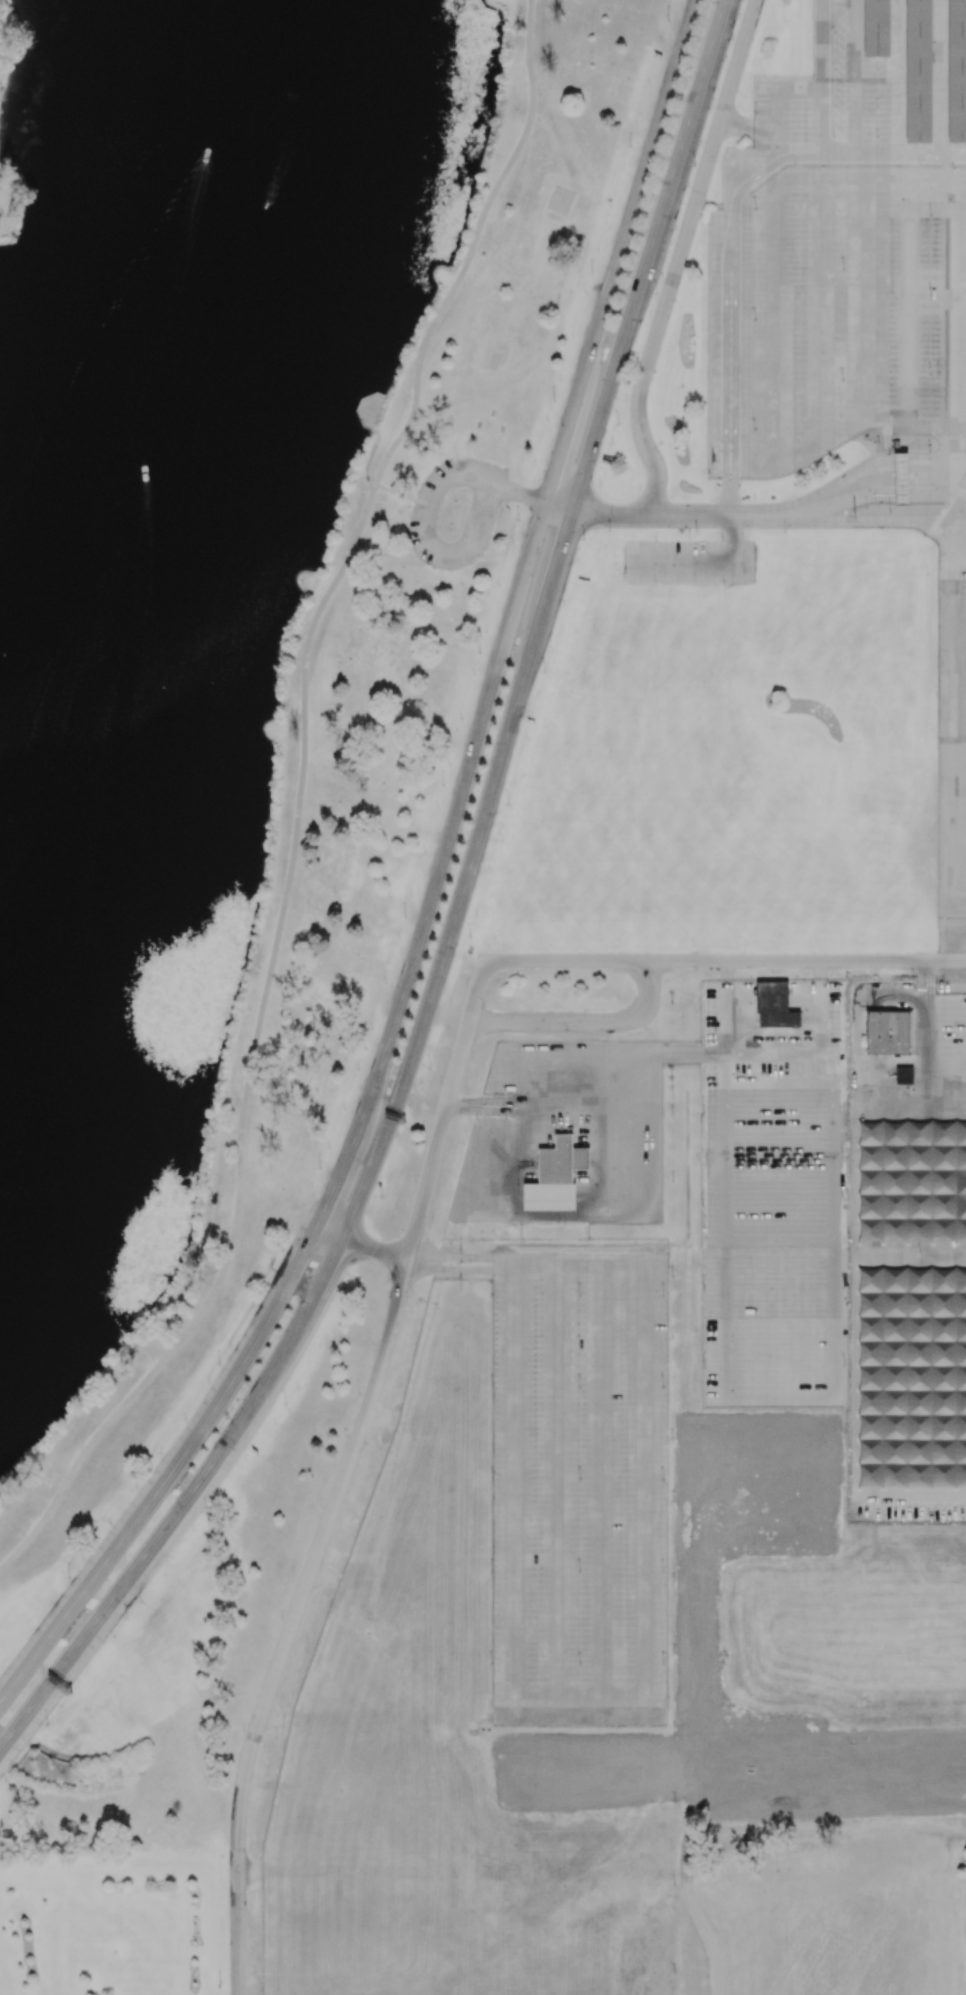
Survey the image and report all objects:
street lamp: (738, 18)
street lamp: (667, 20)
road: (721, 21)
building: (876, 28)
street lamp: (732, 39)
road: (853, 55)
building: (918, 71)
building: (956, 71)
road: (897, 76)
road: (939, 76)
road: (823, 79)
park: (26, 87)
road: (727, 93)
street lamp: (757, 114)
street lamp: (629, 146)
road: (910, 153)
road: (774, 159)
street lamp: (696, 165)
road: (937, 178)
road: (638, 191)
street lamp: (932, 213)
road: (471, 247)
road: (647, 254)
street lamp: (592, 273)
street lamp: (930, 292)
street lamp: (654, 294)
road: (908, 297)
road: (951, 305)
parking lot: (926, 334)
road: (649, 351)
street lamp: (930, 373)
street lamp: (553, 400)
pier: (368, 409)
street lamp: (616, 425)
road: (949, 433)
road: (563, 442)
street lamp: (930, 450)
road: (369, 456)
street lamp: (931, 460)
road: (883, 469)
toll booth: (903, 469)
building: (902, 480)
road: (454, 481)
street lamp: (932, 485)
toll booth: (903, 492)
road: (515, 493)
road: (405, 494)
road: (848, 499)
road: (869, 500)
street lamp: (866, 505)
street lamp: (409, 506)
street lamp: (891, 511)
parking lot: (482, 512)
street lamp: (500, 513)
road: (595, 514)
street lamp: (517, 518)
road: (849, 522)
street lamp: (609, 531)
street lamp: (695, 531)
street lamp: (785, 531)
street lamp: (583, 538)
street lamp: (656, 538)
street lamp: (722, 538)
road: (461, 549)
road: (554, 565)
street lamp: (656, 584)
street lamp: (724, 585)
park: (246, 620)
street lamp: (478, 651)
parking lot: (755, 669)
street lamp: (544, 670)
road: (762, 702)
road: (514, 707)
road: (672, 722)
road: (949, 722)
street lamp: (443, 786)
street lamp: (506, 804)
road: (471, 862)
road: (440, 865)
street lamp: (405, 917)
street lamp: (469, 937)
road: (732, 960)
building: (774, 1006)
road: (581, 1022)
building: (887, 1033)
street lamp: (365, 1046)
road: (770, 1054)
road: (252, 1058)
street lamp: (429, 1068)
building: (903, 1075)
road: (403, 1086)
road: (553, 1105)
airport: (699, 1163)
street lamp: (319, 1168)
building: (555, 1176)
street lamp: (414, 1182)
street lamp: (382, 1197)
road: (600, 1215)
road: (331, 1229)
road: (782, 1239)
road: (374, 1248)
street lamp: (280, 1250)
road: (525, 1260)
street lamp: (387, 1280)
street lamp: (349, 1288)
street lamp: (318, 1346)
street lamp: (217, 1364)
street lamp: (295, 1385)
street lamp: (284, 1405)
street lamp: (148, 1473)
road: (173, 1473)
road: (186, 1501)
street lamp: (207, 1513)
road: (314, 1563)
street lamp: (68, 1576)
street lamp: (126, 1618)
park: (165, 1661)
street lamp: (45, 1724)
road: (250, 1871)
road: (774, 1910)
road: (238, 1933)

